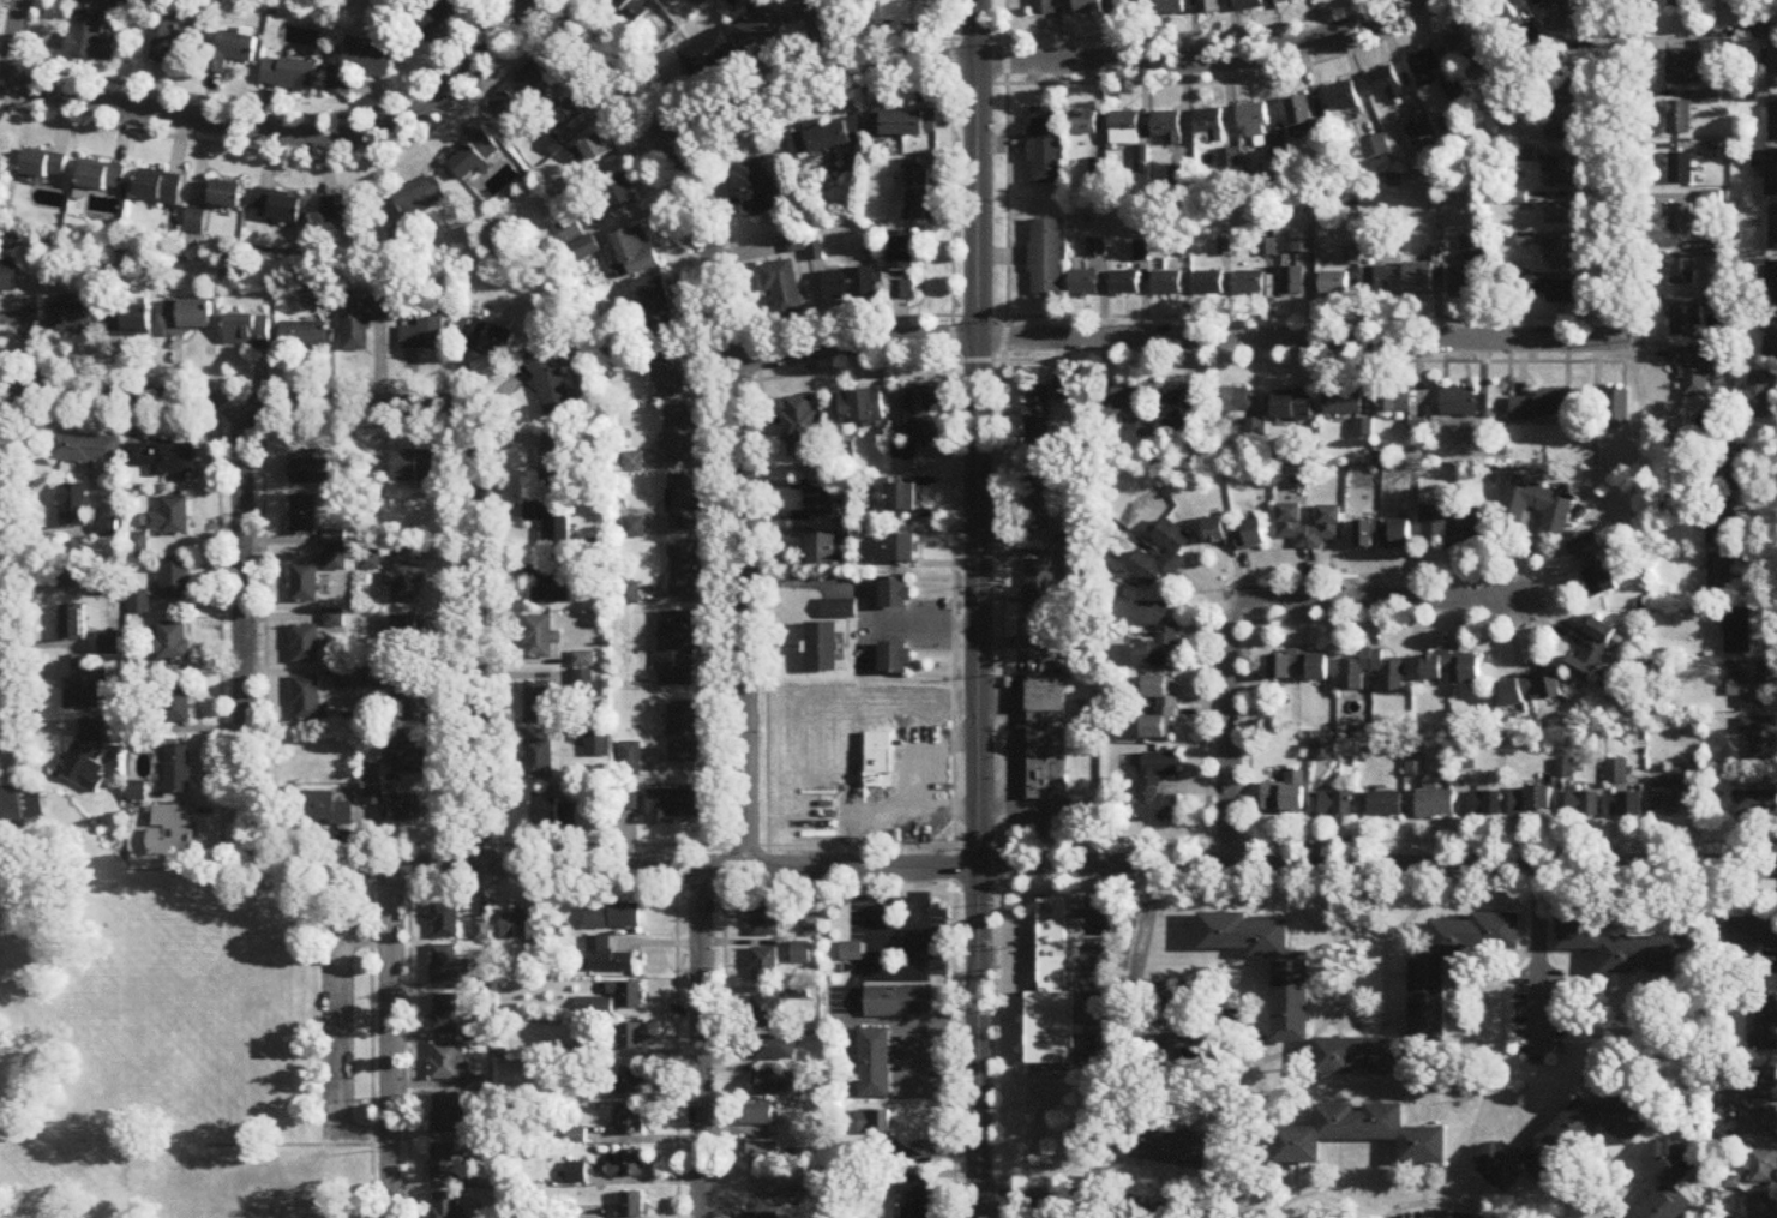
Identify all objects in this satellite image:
building: (116, 1)
building: (1285, 1)
building: (1249, 5)
building: (1680, 5)
building: (1043, 6)
building: (1089, 7)
building: (1130, 7)
building: (1170, 7)
building: (1208, 7)
building: (630, 10)
building: (817, 11)
building: (894, 11)
building: (428, 17)
building: (1557, 17)
building: (1507, 24)
building: (761, 25)
road: (1178, 32)
road: (17, 37)
building: (90, 38)
building: (180, 38)
building: (1465, 46)
building: (232, 53)
building: (708, 55)
building: (1556, 55)
road: (1033, 61)
building: (359, 66)
building: (1772, 66)
building: (1424, 67)
building: (1685, 68)
road: (1235, 72)
building: (289, 76)
building: (1386, 85)
building: (1562, 85)
building: (521, 90)
building: (1343, 98)
building: (1712, 98)
building: (570, 115)
building: (1299, 115)
building: (1680, 119)
building: (1773, 120)
building: (1254, 122)
building: (902, 125)
building: (1082, 125)
building: (1209, 126)
building: (1167, 128)
building: (1124, 130)
building: (1561, 131)
road: (295, 133)
building: (1419, 136)
building: (828, 139)
building: (1044, 146)
building: (1375, 149)
building: (595, 151)
building: (1279, 154)
building: (475, 158)
building: (44, 167)
road: (1619, 167)
building: (1681, 170)
building: (1766, 172)
building: (1560, 173)
building: (102, 179)
building: (158, 188)
building: (754, 188)
building: (917, 192)
building: (226, 196)
building: (420, 199)
building: (614, 199)
building: (277, 206)
building: (341, 210)
building: (1560, 215)
building: (1681, 222)
building: (1772, 229)
building: (570, 232)
building: (796, 244)
building: (1303, 244)
building: (1388, 248)
building: (584, 250)
building: (1471, 250)
building: (636, 253)
building: (901, 253)
building: (1562, 257)
building: (1045, 258)
building: (1682, 271)
building: (11, 280)
building: (1419, 280)
building: (1375, 282)
building: (1292, 283)
building: (1461, 283)
building: (1083, 284)
building: (1125, 284)
building: (1166, 284)
building: (1208, 284)
building: (1250, 284)
building: (848, 286)
building: (1334, 286)
building: (1771, 286)
building: (781, 290)
building: (901, 292)
building: (1550, 292)
building: (654, 306)
building: (73, 319)
building: (188, 320)
building: (1686, 322)
building: (130, 323)
building: (362, 323)
building: (248, 334)
building: (426, 334)
building: (305, 337)
road: (1172, 337)
building: (490, 340)
building: (1771, 341)
building: (668, 368)
building: (1694, 373)
building: (552, 384)
building: (1757, 396)
building: (1232, 401)
building: (1123, 402)
building: (1343, 402)
building: (1395, 402)
building: (1464, 403)
road: (739, 404)
building: (1179, 404)
building: (1543, 406)
road: (241, 407)
building: (1292, 407)
building: (862, 408)
building: (1615, 409)
building: (1038, 416)
building: (802, 427)
building: (679, 436)
building: (86, 451)
building: (163, 460)
building: (556, 462)
building: (414, 467)
building: (311, 469)
building: (1730, 469)
building: (902, 500)
building: (683, 503)
building: (74, 506)
building: (818, 506)
building: (1038, 506)
building: (1537, 509)
building: (305, 517)
building: (172, 518)
building: (1329, 518)
building: (1477, 520)
building: (1721, 523)
building: (551, 524)
building: (634, 529)
building: (1236, 534)
building: (1383, 536)
building: (335, 541)
building: (822, 551)
building: (902, 551)
building: (1175, 553)
road: (7, 558)
building: (336, 564)
building: (74, 566)
building: (1595, 568)
building: (684, 570)
building: (1721, 578)
building: (550, 581)
building: (176, 582)
building: (406, 583)
building: (305, 586)
building: (1039, 589)
building: (895, 595)
road: (866, 599)
road: (1248, 604)
road: (951, 608)
road: (975, 608)
road: (1001, 608)
building: (839, 610)
building: (335, 620)
building: (73, 624)
building: (1737, 634)
road: (245, 635)
building: (1167, 636)
building: (407, 637)
building: (541, 640)
road: (478, 641)
building: (173, 643)
building: (110, 646)
building: (305, 647)
building: (822, 649)
building: (677, 650)
building: (1592, 653)
building: (894, 661)
building: (1299, 667)
building: (1373, 668)
building: (1452, 670)
building: (376, 679)
building: (1747, 685)
building: (82, 689)
building: (1532, 690)
building: (410, 701)
building: (308, 702)
building: (540, 702)
building: (176, 704)
building: (1160, 710)
building: (684, 733)
building: (1761, 739)
building: (1047, 740)
building: (599, 745)
building: (88, 754)
building: (406, 756)
building: (630, 760)
building: (540, 761)
building: (880, 762)
building: (179, 770)
building: (1615, 773)
building: (372, 776)
building: (921, 780)
building: (1158, 788)
building: (1285, 796)
building: (373, 797)
building: (1670, 797)
building: (1530, 802)
building: (629, 803)
building: (1434, 804)
building: (23, 805)
building: (1335, 805)
building: (1385, 805)
building: (1485, 805)
building: (1754, 805)
building: (673, 806)
building: (1583, 806)
building: (1631, 808)
building: (320, 810)
building: (404, 811)
building: (556, 814)
building: (172, 832)
road: (1092, 840)
road: (1375, 864)
road: (614, 866)
road: (1073, 890)
road: (1015, 905)
road: (1077, 911)
building: (613, 918)
building: (766, 919)
building: (445, 922)
building: (1747, 931)
road: (1357, 935)
road: (1086, 940)
building: (1622, 947)
parking lot: (888, 949)
building: (847, 950)
building: (803, 953)
road: (1530, 954)
building: (610, 958)
road: (1537, 962)
building: (764, 965)
building: (448, 966)
road: (1067, 976)
building: (1050, 995)
building: (629, 996)
building: (895, 1000)
building: (1188, 1000)
building: (1291, 1000)
building: (1428, 1001)
building: (766, 1012)
building: (446, 1015)
road: (1358, 1016)
building: (1763, 1022)
road: (409, 1031)
road: (677, 1031)
road: (724, 1031)
road: (1121, 1033)
road: (1184, 1037)
building: (632, 1038)
road: (1501, 1040)
road: (701, 1042)
road: (391, 1043)
road: (1454, 1043)
building: (773, 1049)
road: (371, 1054)
building: (1359, 1057)
building: (451, 1063)
building: (872, 1064)
building: (629, 1081)
building: (1764, 1082)
building: (773, 1087)
road: (1257, 1097)
building: (449, 1115)
building: (760, 1115)
building: (874, 1122)
building: (1759, 1122)
building: (631, 1123)
building: (1359, 1136)
building: (1563, 1142)
building: (1163, 1146)
building: (763, 1154)
road: (1599, 1157)
building: (444, 1164)
building: (628, 1166)
building: (1763, 1166)
building: (1668, 1181)
road: (1383, 1182)
road: (1125, 1184)
building: (912, 1196)
road: (1130, 1201)
road: (1422, 1201)
road: (1087, 1202)
road: (1437, 1204)
building: (446, 1205)
building: (632, 1205)
road: (1172, 1205)
building: (1763, 1206)
road: (1471, 1210)
building: (761, 1216)

